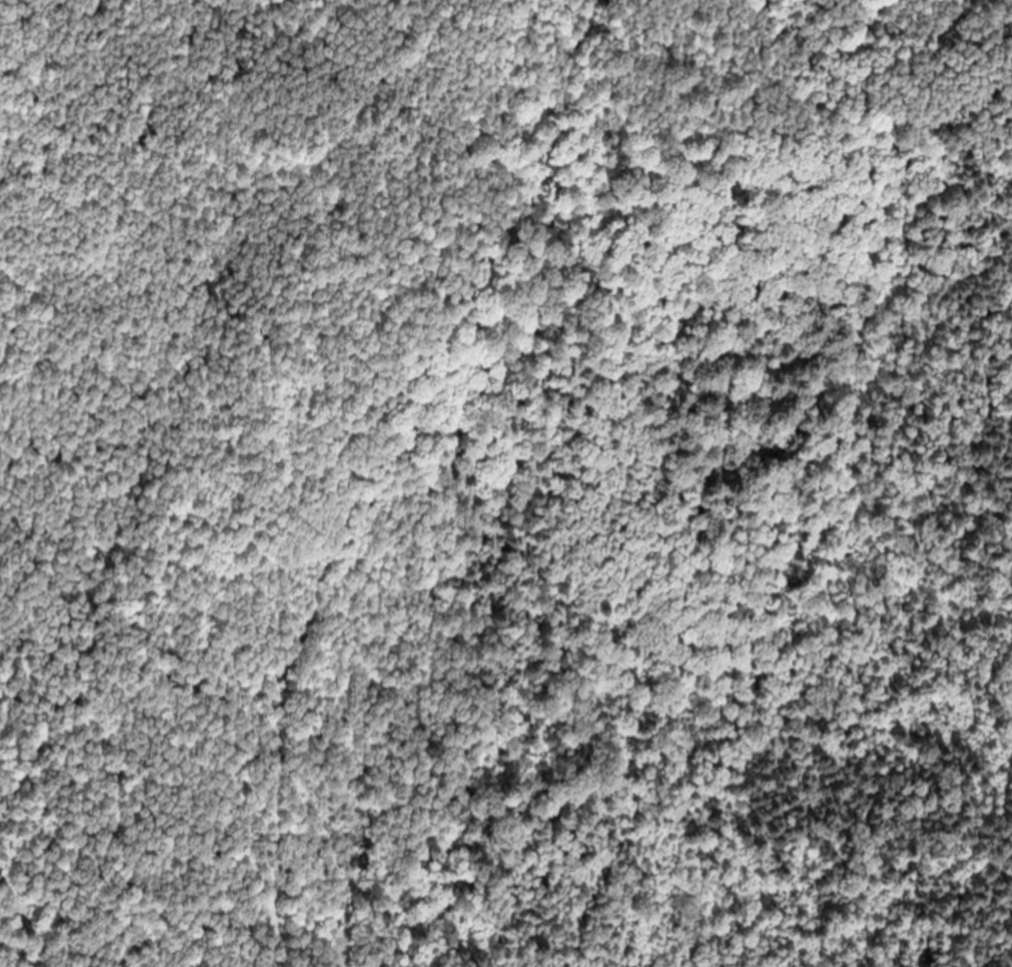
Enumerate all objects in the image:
road: (23, 924)

